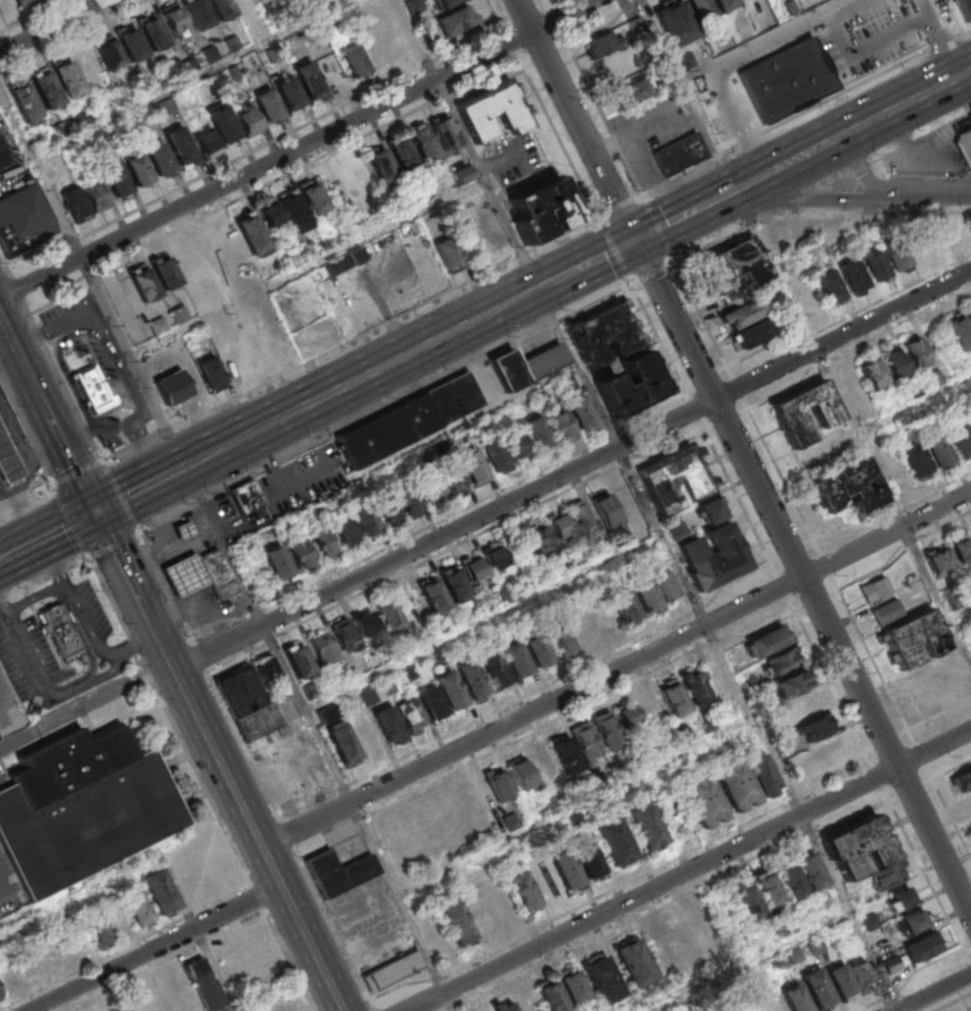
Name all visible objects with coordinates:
building: (25, 3)
building: (442, 3)
building: (726, 5)
road: (517, 6)
road: (544, 6)
road: (628, 6)
building: (221, 8)
road: (851, 8)
building: (966, 8)
building: (701, 9)
road: (924, 9)
building: (199, 15)
road: (32, 16)
building: (173, 17)
road: (496, 17)
building: (456, 19)
road: (552, 20)
building: (675, 21)
building: (636, 24)
road: (52, 26)
road: (594, 31)
road: (465, 32)
building: (723, 34)
road: (894, 36)
building: (156, 37)
road: (844, 37)
road: (561, 38)
road: (509, 43)
road: (946, 47)
building: (134, 48)
road: (561, 48)
road: (665, 49)
building: (109, 54)
road: (544, 57)
road: (425, 64)
building: (356, 65)
road: (526, 66)
road: (729, 69)
road: (192, 80)
building: (790, 82)
building: (312, 84)
road: (485, 86)
road: (588, 90)
building: (631, 91)
building: (45, 92)
road: (440, 96)
building: (291, 97)
building: (269, 108)
building: (492, 110)
building: (970, 114)
road: (801, 117)
building: (246, 119)
road: (642, 123)
building: (223, 126)
building: (445, 132)
road: (556, 133)
road: (921, 136)
road: (833, 141)
road: (614, 142)
building: (205, 143)
building: (423, 143)
road: (715, 143)
road: (465, 145)
building: (966, 147)
road: (296, 148)
building: (183, 150)
building: (402, 154)
building: (5, 155)
building: (680, 155)
building: (161, 164)
building: (380, 164)
road: (211, 165)
road: (863, 168)
road: (928, 170)
road: (40, 174)
building: (139, 174)
building: (464, 174)
building: (358, 175)
road: (631, 176)
road: (651, 177)
building: (116, 182)
road: (829, 183)
road: (930, 193)
building: (96, 196)
road: (813, 197)
building: (312, 199)
road: (228, 202)
road: (617, 205)
building: (74, 206)
building: (558, 211)
road: (869, 212)
building: (284, 214)
road: (602, 214)
road: (601, 219)
building: (24, 223)
road: (665, 226)
road: (656, 228)
building: (250, 234)
road: (724, 235)
traffic signals: (635, 241)
road: (616, 248)
road: (608, 254)
building: (451, 256)
building: (896, 256)
road: (2, 259)
building: (736, 264)
building: (346, 265)
building: (874, 265)
road: (309, 270)
road: (7, 271)
road: (650, 272)
building: (852, 275)
building: (153, 279)
building: (828, 287)
road: (15, 289)
road: (535, 291)
road: (24, 307)
building: (969, 315)
building: (745, 316)
road: (846, 316)
road: (799, 319)
road: (14, 322)
road: (53, 332)
building: (958, 333)
building: (606, 334)
road: (660, 336)
building: (756, 336)
road: (351, 342)
road: (851, 345)
building: (915, 353)
road: (10, 355)
road: (134, 361)
building: (894, 365)
building: (528, 366)
road: (578, 368)
road: (122, 369)
road: (375, 372)
building: (871, 374)
road: (705, 376)
building: (213, 377)
building: (633, 389)
building: (96, 391)
building: (176, 391)
road: (82, 397)
building: (455, 397)
road: (386, 406)
road: (914, 406)
road: (694, 408)
building: (580, 413)
building: (790, 413)
road: (727, 420)
building: (969, 423)
building: (561, 427)
building: (388, 432)
building: (537, 433)
building: (959, 442)
building: (515, 444)
building: (937, 451)
road: (148, 452)
road: (745, 452)
road: (210, 455)
building: (497, 459)
road: (107, 460)
building: (915, 460)
building: (9, 463)
road: (36, 463)
building: (473, 467)
road: (574, 469)
road: (78, 471)
building: (678, 481)
building: (454, 482)
road: (43, 487)
road: (53, 488)
building: (849, 489)
building: (432, 491)
road: (122, 494)
road: (128, 496)
road: (738, 496)
building: (246, 497)
road: (20, 498)
building: (409, 503)
road: (4, 505)
road: (24, 508)
building: (605, 508)
traffic signals: (100, 512)
building: (713, 512)
building: (389, 513)
building: (578, 514)
road: (445, 517)
building: (363, 520)
road: (69, 522)
building: (559, 526)
road: (69, 528)
road: (138, 528)
building: (680, 530)
building: (343, 531)
building: (187, 535)
building: (539, 540)
road: (113, 543)
building: (322, 544)
road: (456, 544)
road: (5, 545)
building: (962, 552)
road: (19, 553)
road: (87, 553)
road: (821, 554)
building: (301, 555)
building: (495, 558)
building: (715, 558)
building: (939, 560)
building: (278, 564)
building: (473, 569)
road: (46, 577)
road: (132, 577)
building: (221, 577)
building: (188, 578)
road: (782, 584)
building: (667, 585)
road: (166, 588)
building: (456, 591)
building: (877, 592)
road: (936, 595)
building: (647, 598)
road: (38, 599)
building: (434, 601)
road: (77, 606)
building: (624, 607)
building: (889, 615)
road: (960, 615)
building: (603, 619)
building: (391, 621)
building: (364, 622)
road: (484, 624)
road: (711, 630)
building: (61, 633)
building: (344, 635)
building: (560, 642)
road: (625, 645)
building: (916, 645)
road: (26, 646)
building: (768, 646)
road: (139, 647)
building: (325, 649)
road: (89, 650)
building: (538, 652)
road: (200, 656)
building: (299, 661)
building: (785, 662)
building: (519, 665)
road: (618, 668)
building: (496, 673)
road: (634, 678)
road: (829, 679)
building: (474, 684)
building: (752, 684)
road: (90, 685)
road: (184, 687)
building: (795, 687)
building: (694, 688)
building: (311, 690)
building: (242, 693)
building: (367, 696)
building: (453, 696)
road: (162, 697)
building: (672, 698)
building: (804, 704)
road: (86, 707)
building: (435, 708)
building: (411, 715)
building: (627, 716)
road: (934, 717)
road: (172, 720)
building: (606, 728)
building: (392, 729)
building: (817, 730)
building: (367, 735)
building: (585, 740)
road: (885, 740)
building: (342, 742)
road: (243, 744)
building: (825, 752)
building: (565, 754)
building: (532, 767)
road: (947, 770)
road: (877, 774)
building: (962, 779)
building: (746, 780)
building: (497, 783)
building: (702, 801)
building: (84, 804)
road: (576, 805)
road: (361, 817)
building: (511, 821)
road: (254, 828)
building: (413, 828)
building: (649, 831)
road: (287, 833)
road: (232, 838)
building: (617, 848)
building: (859, 849)
building: (588, 861)
road: (276, 865)
building: (566, 870)
road: (693, 870)
building: (810, 870)
building: (888, 874)
road: (926, 874)
building: (342, 875)
building: (790, 880)
road: (1, 886)
road: (615, 887)
building: (766, 887)
building: (522, 890)
building: (160, 891)
road: (683, 891)
road: (260, 898)
road: (53, 899)
building: (898, 899)
building: (746, 900)
building: (137, 908)
road: (850, 912)
building: (116, 919)
building: (869, 921)
building: (913, 921)
building: (456, 922)
road: (335, 927)
building: (100, 935)
road: (198, 935)
road: (970, 944)
building: (667, 945)
building: (817, 945)
building: (881, 945)
building: (922, 947)
road: (160, 948)
road: (317, 948)
road: (292, 961)
road: (752, 962)
building: (893, 964)
building: (637, 969)
building: (860, 971)
building: (397, 975)
road: (913, 975)
building: (841, 981)
building: (204, 982)
building: (604, 985)
building: (573, 987)
building: (817, 987)
road: (933, 992)
building: (1, 994)
building: (794, 997)
road: (952, 1001)
building: (504, 1006)
road: (899, 1010)

